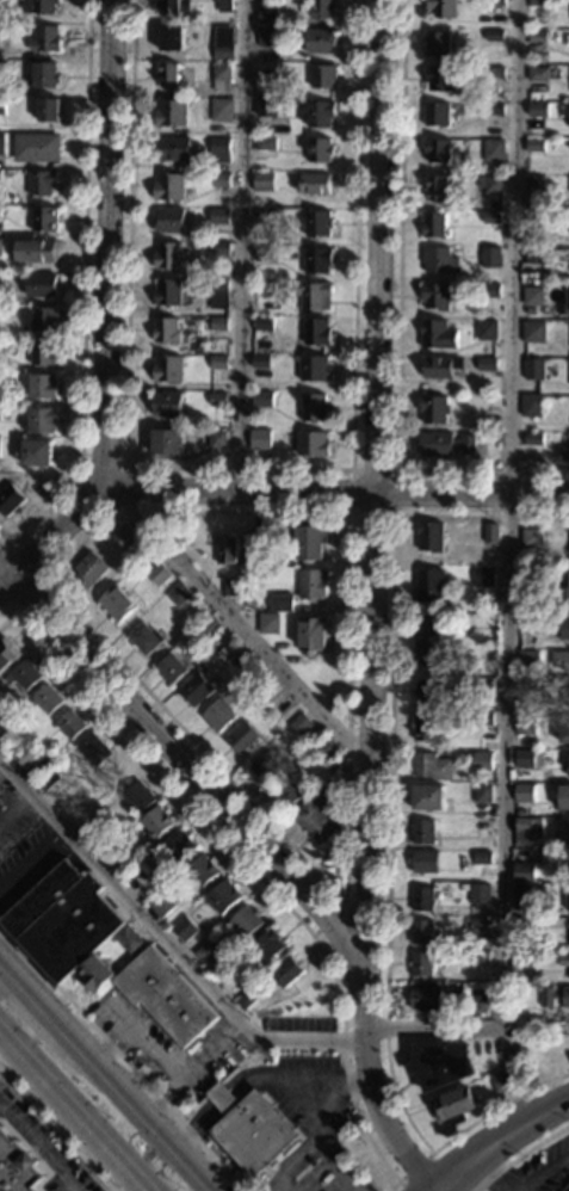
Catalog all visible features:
building: (495, 2)
building: (538, 2)
building: (2, 4)
building: (223, 5)
building: (38, 6)
building: (173, 6)
building: (321, 8)
building: (440, 8)
building: (267, 13)
building: (2, 31)
building: (494, 36)
building: (267, 37)
building: (537, 37)
building: (44, 38)
building: (171, 38)
building: (321, 41)
building: (222, 43)
building: (437, 44)
building: (1, 69)
building: (495, 73)
building: (44, 74)
building: (167, 74)
building: (538, 74)
building: (322, 76)
building: (222, 78)
building: (439, 80)
building: (265, 90)
building: (2, 105)
building: (47, 109)
building: (221, 109)
building: (265, 109)
building: (495, 110)
building: (537, 110)
building: (171, 113)
building: (320, 115)
building: (437, 115)
building: (1, 142)
building: (265, 142)
building: (536, 146)
building: (36, 147)
building: (172, 149)
building: (318, 149)
building: (219, 150)
building: (438, 150)
building: (493, 150)
building: (0, 174)
building: (219, 179)
building: (41, 181)
building: (262, 181)
building: (313, 183)
building: (534, 183)
building: (490, 185)
building: (169, 187)
building: (437, 189)
building: (218, 216)
building: (264, 216)
building: (491, 217)
building: (44, 218)
building: (168, 220)
building: (536, 221)
building: (315, 223)
building: (434, 226)
road: (107, 243)
road: (239, 245)
building: (0, 246)
building: (218, 248)
building: (36, 249)
building: (264, 253)
building: (169, 254)
building: (490, 257)
building: (534, 258)
building: (316, 259)
building: (439, 261)
building: (41, 284)
building: (262, 289)
road: (82, 291)
building: (489, 291)
building: (166, 292)
building: (217, 294)
building: (315, 296)
building: (533, 296)
building: (434, 297)
building: (564, 304)
building: (43, 319)
road: (395, 322)
building: (218, 325)
building: (262, 325)
building: (165, 329)
building: (487, 331)
building: (316, 332)
building: (533, 332)
building: (435, 334)
building: (42, 353)
building: (218, 363)
building: (260, 363)
building: (487, 365)
building: (440, 366)
building: (314, 369)
building: (168, 370)
building: (533, 370)
building: (42, 387)
building: (217, 400)
building: (262, 400)
building: (166, 405)
building: (531, 406)
building: (314, 408)
building: (433, 409)
building: (41, 421)
building: (482, 424)
building: (217, 439)
building: (259, 439)
building: (533, 439)
building: (166, 443)
building: (311, 444)
building: (444, 445)
building: (35, 453)
building: (564, 453)
road: (239, 468)
building: (26, 486)
road: (128, 489)
road: (334, 493)
building: (10, 500)
road: (352, 513)
building: (490, 533)
road: (50, 537)
building: (125, 537)
building: (428, 537)
building: (255, 538)
building: (531, 539)
building: (308, 542)
building: (227, 549)
building: (88, 569)
building: (157, 574)
road: (36, 576)
building: (484, 576)
building: (527, 579)
road: (505, 580)
building: (311, 585)
building: (428, 585)
building: (233, 586)
building: (179, 595)
building: (562, 595)
building: (279, 601)
building: (116, 604)
road: (370, 607)
building: (524, 610)
road: (230, 621)
building: (268, 624)
building: (527, 625)
building: (210, 627)
building: (564, 628)
building: (311, 635)
building: (144, 640)
building: (429, 644)
building: (5, 653)
building: (527, 659)
building: (561, 660)
building: (240, 667)
building: (171, 668)
building: (253, 675)
building: (21, 677)
building: (483, 685)
building: (196, 690)
building: (526, 690)
building: (428, 692)
building: (276, 698)
building: (45, 699)
building: (218, 716)
building: (0, 717)
building: (482, 718)
building: (69, 724)
building: (299, 726)
building: (423, 727)
building: (525, 727)
building: (564, 732)
building: (241, 738)
building: (93, 749)
building: (323, 749)
building: (25, 755)
road: (210, 759)
building: (526, 759)
building: (481, 760)
road: (186, 766)
building: (265, 766)
building: (431, 766)
building: (328, 769)
building: (568, 773)
building: (49, 780)
building: (286, 792)
building: (524, 792)
building: (482, 794)
building: (563, 796)
building: (137, 797)
building: (427, 797)
building: (322, 798)
road: (14, 808)
building: (156, 822)
building: (313, 822)
building: (522, 825)
building: (91, 829)
road: (388, 831)
building: (422, 832)
building: (567, 832)
parking lot: (24, 847)
building: (178, 847)
building: (119, 853)
building: (482, 858)
road: (31, 860)
building: (423, 862)
road: (252, 868)
building: (524, 871)
building: (202, 872)
building: (137, 880)
building: (478, 894)
building: (521, 894)
building: (223, 897)
building: (567, 897)
building: (421, 900)
building: (163, 903)
road: (342, 903)
building: (62, 920)
building: (246, 922)
building: (522, 924)
building: (480, 926)
building: (568, 927)
building: (185, 928)
building: (421, 932)
building: (129, 940)
road: (165, 942)
building: (268, 944)
building: (206, 954)
building: (478, 957)
building: (520, 961)
building: (563, 961)
road: (4, 963)
building: (421, 964)
road: (4, 971)
building: (95, 974)
building: (286, 974)
building: (166, 996)
building: (555, 996)
building: (476, 998)
road: (38, 999)
building: (246, 999)
building: (426, 999)
road: (150, 1039)
road: (116, 1043)
parking lot: (171, 1049)
road: (122, 1059)
building: (440, 1065)
road: (197, 1073)
building: (503, 1080)
road: (314, 1086)
road: (235, 1092)
building: (454, 1106)
road: (74, 1109)
road: (143, 1110)
road: (524, 1124)
building: (252, 1129)
road: (56, 1130)
road: (314, 1142)
road: (37, 1148)
road: (520, 1154)
building: (17, 1167)
road: (409, 1171)
road: (451, 1171)
road: (468, 1172)
road: (487, 1173)
road: (546, 1173)
road: (283, 1185)
building: (565, 1189)
parking garage: (565, 1189)
road: (146, 1190)

